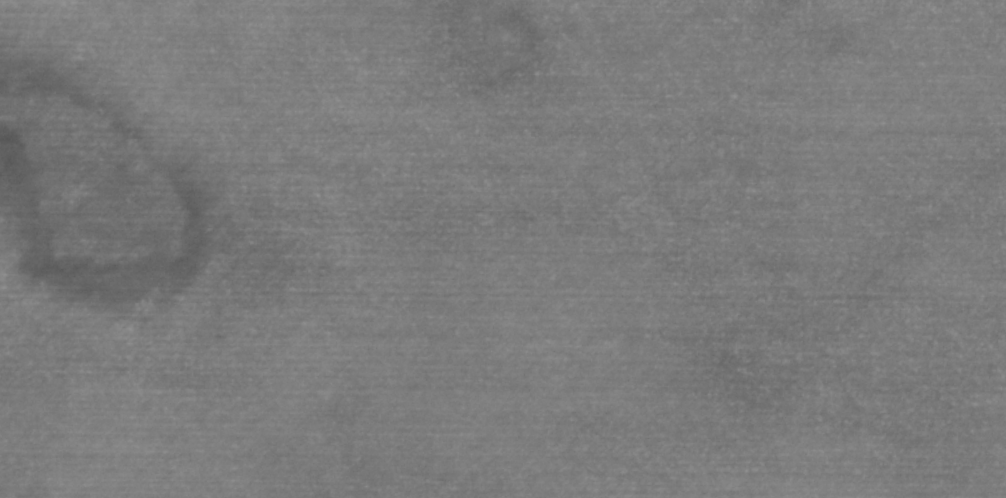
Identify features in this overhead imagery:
crop: (503, 249)

